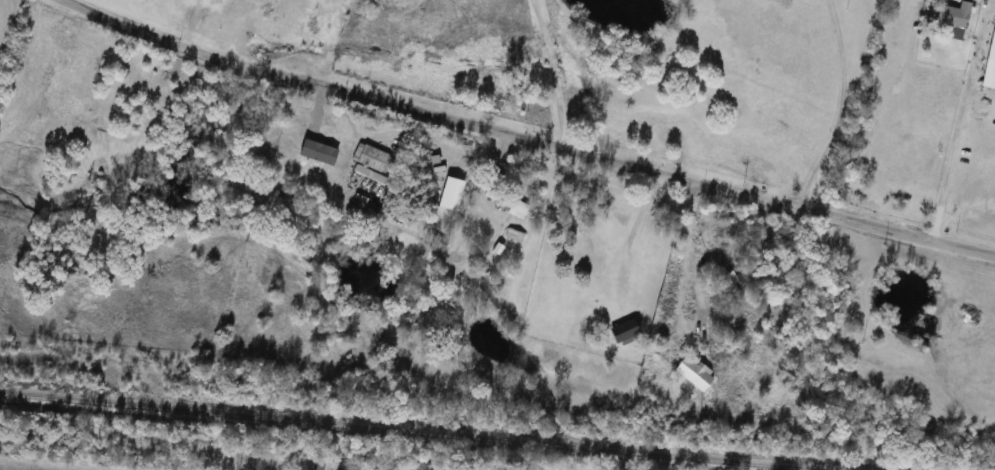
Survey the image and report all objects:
building: (952, 15)
road: (551, 73)
road: (841, 107)
road: (955, 129)
road: (525, 138)
building: (371, 163)
building: (511, 204)
road: (628, 239)
building: (436, 244)
road: (690, 252)
building: (587, 257)
building: (723, 278)
building: (622, 330)
building: (692, 373)
railway: (402, 432)

